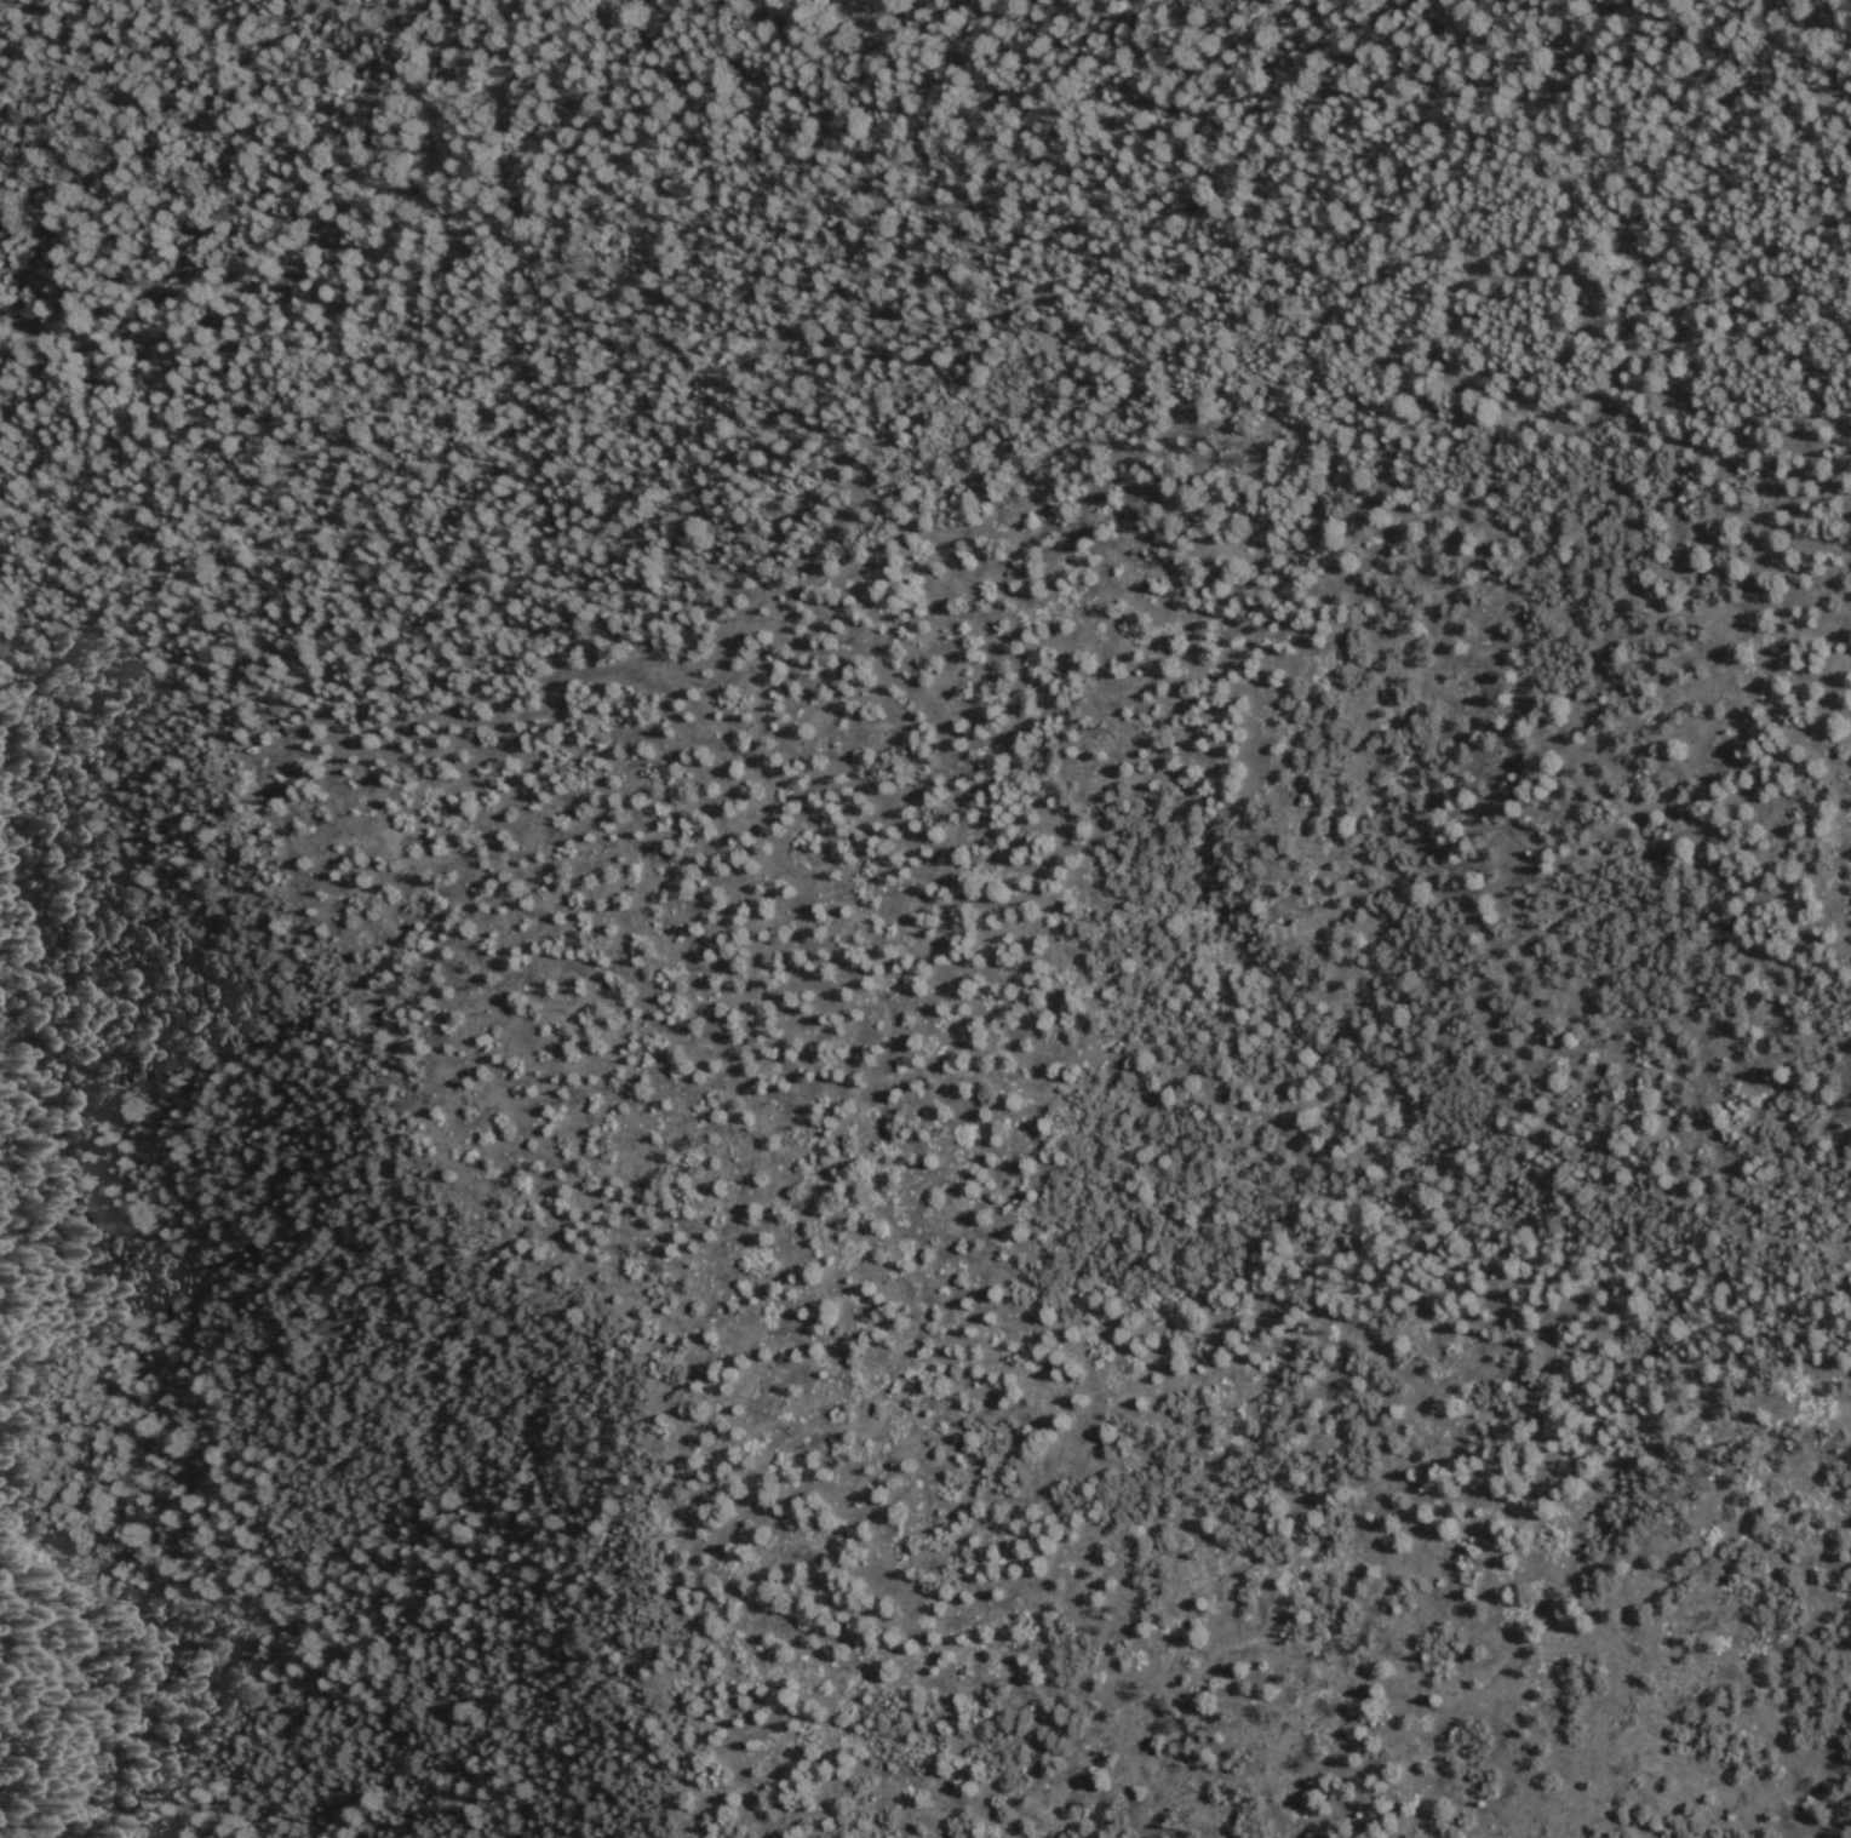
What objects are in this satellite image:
road: (1333, 78)
road: (882, 348)
road: (999, 1107)
road: (437, 1214)
road: (1681, 1475)
road: (1089, 1816)

